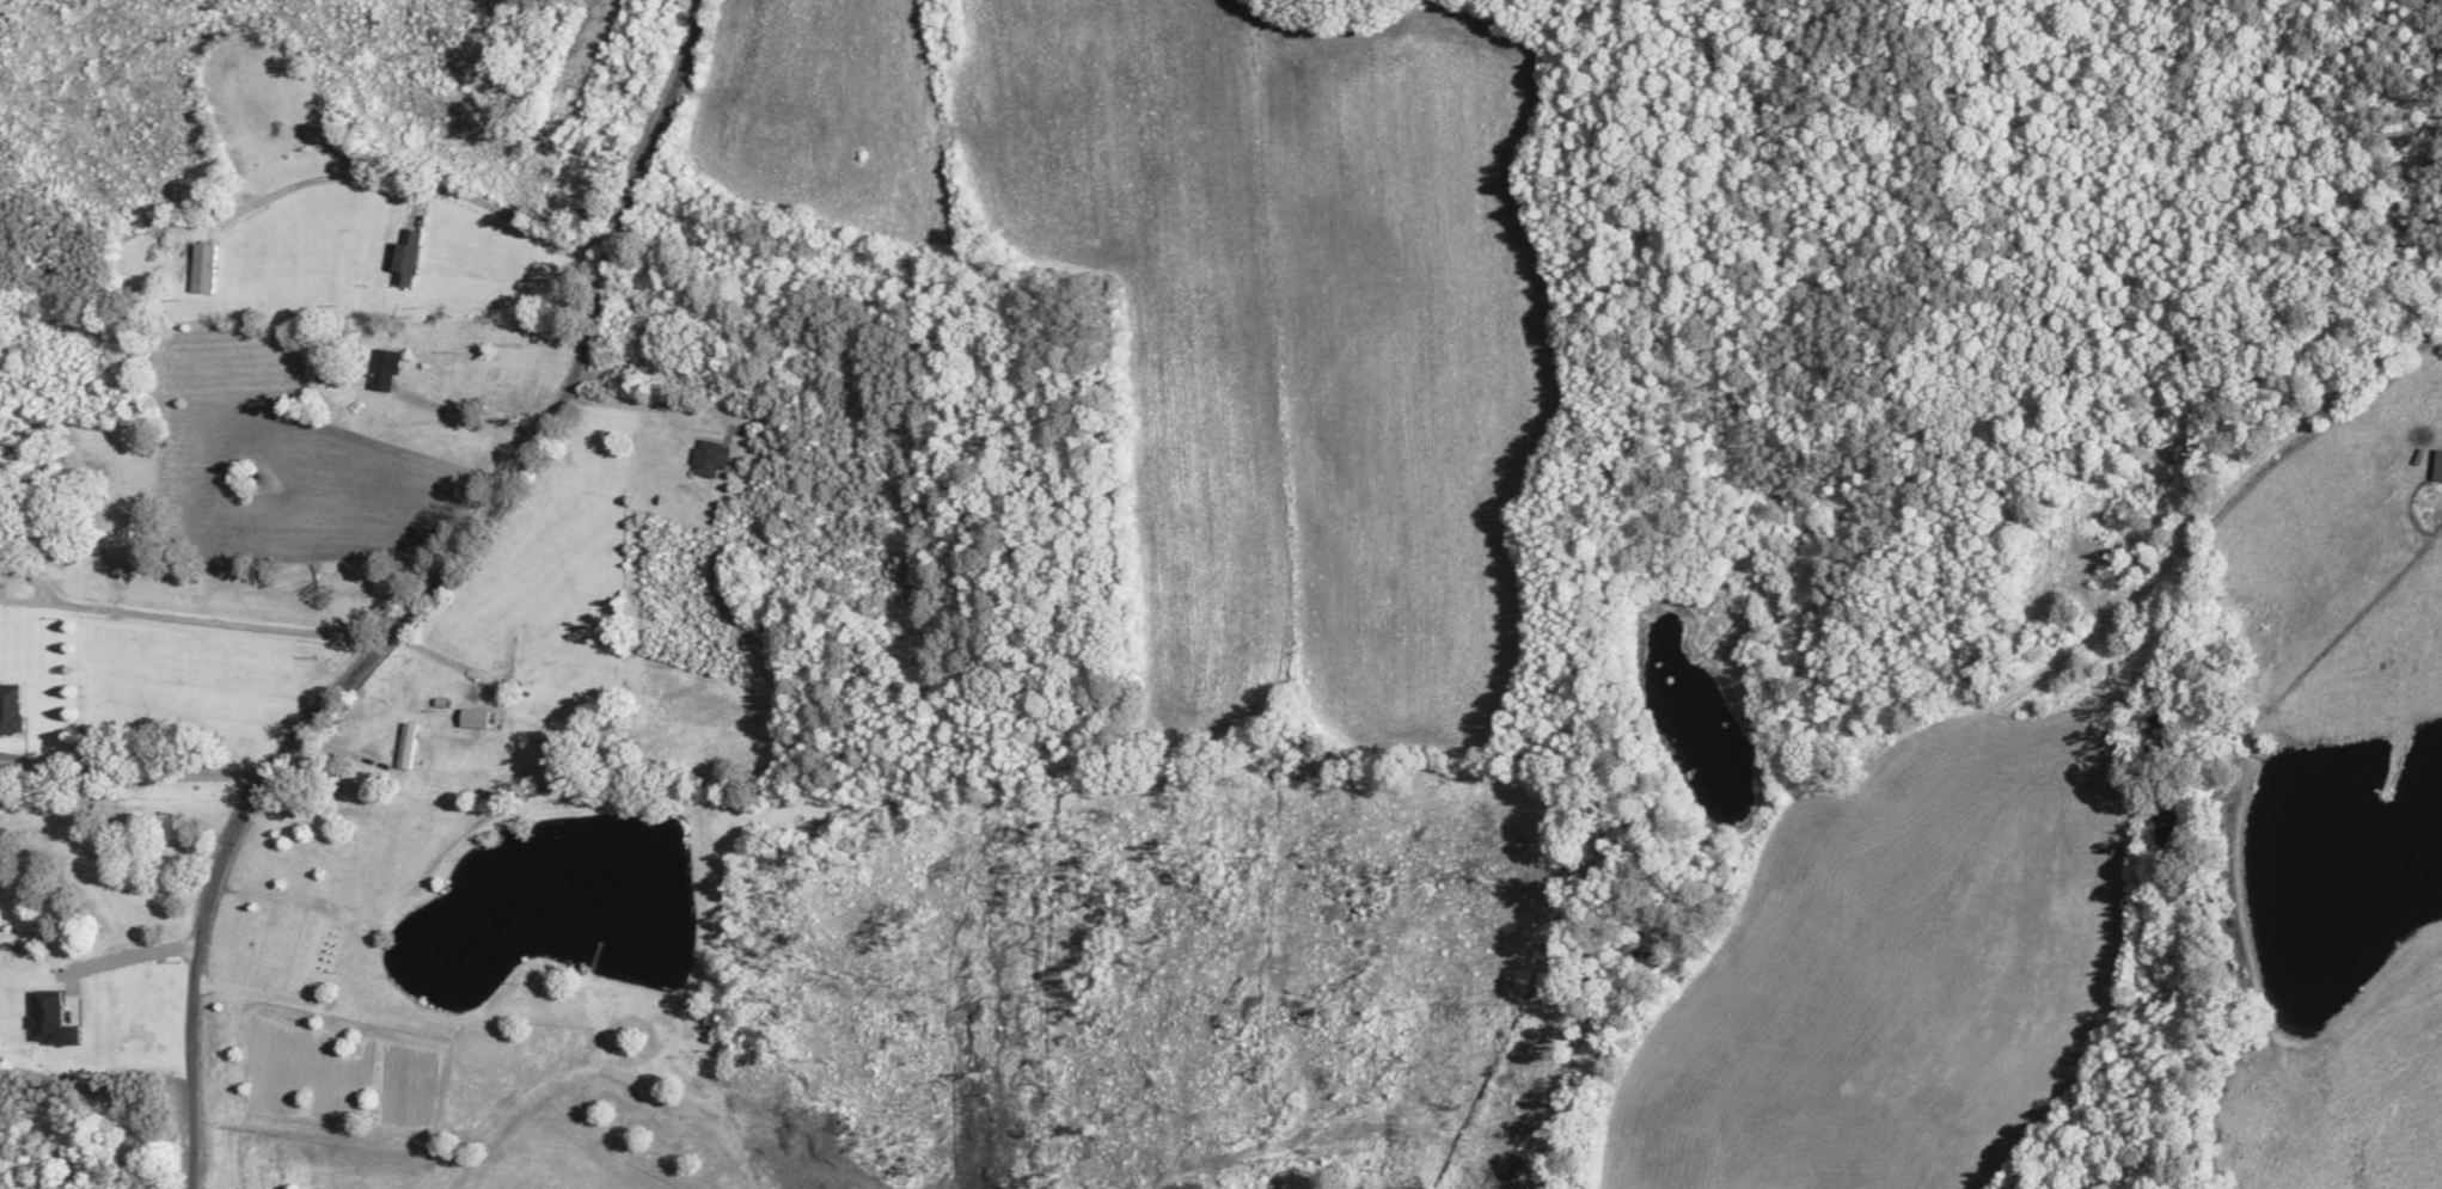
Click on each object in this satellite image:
building: (402, 261)
building: (200, 269)
building: (381, 370)
road: (2313, 429)
building: (706, 459)
building: (2436, 467)
road: (433, 596)
building: (504, 652)
building: (7, 710)

